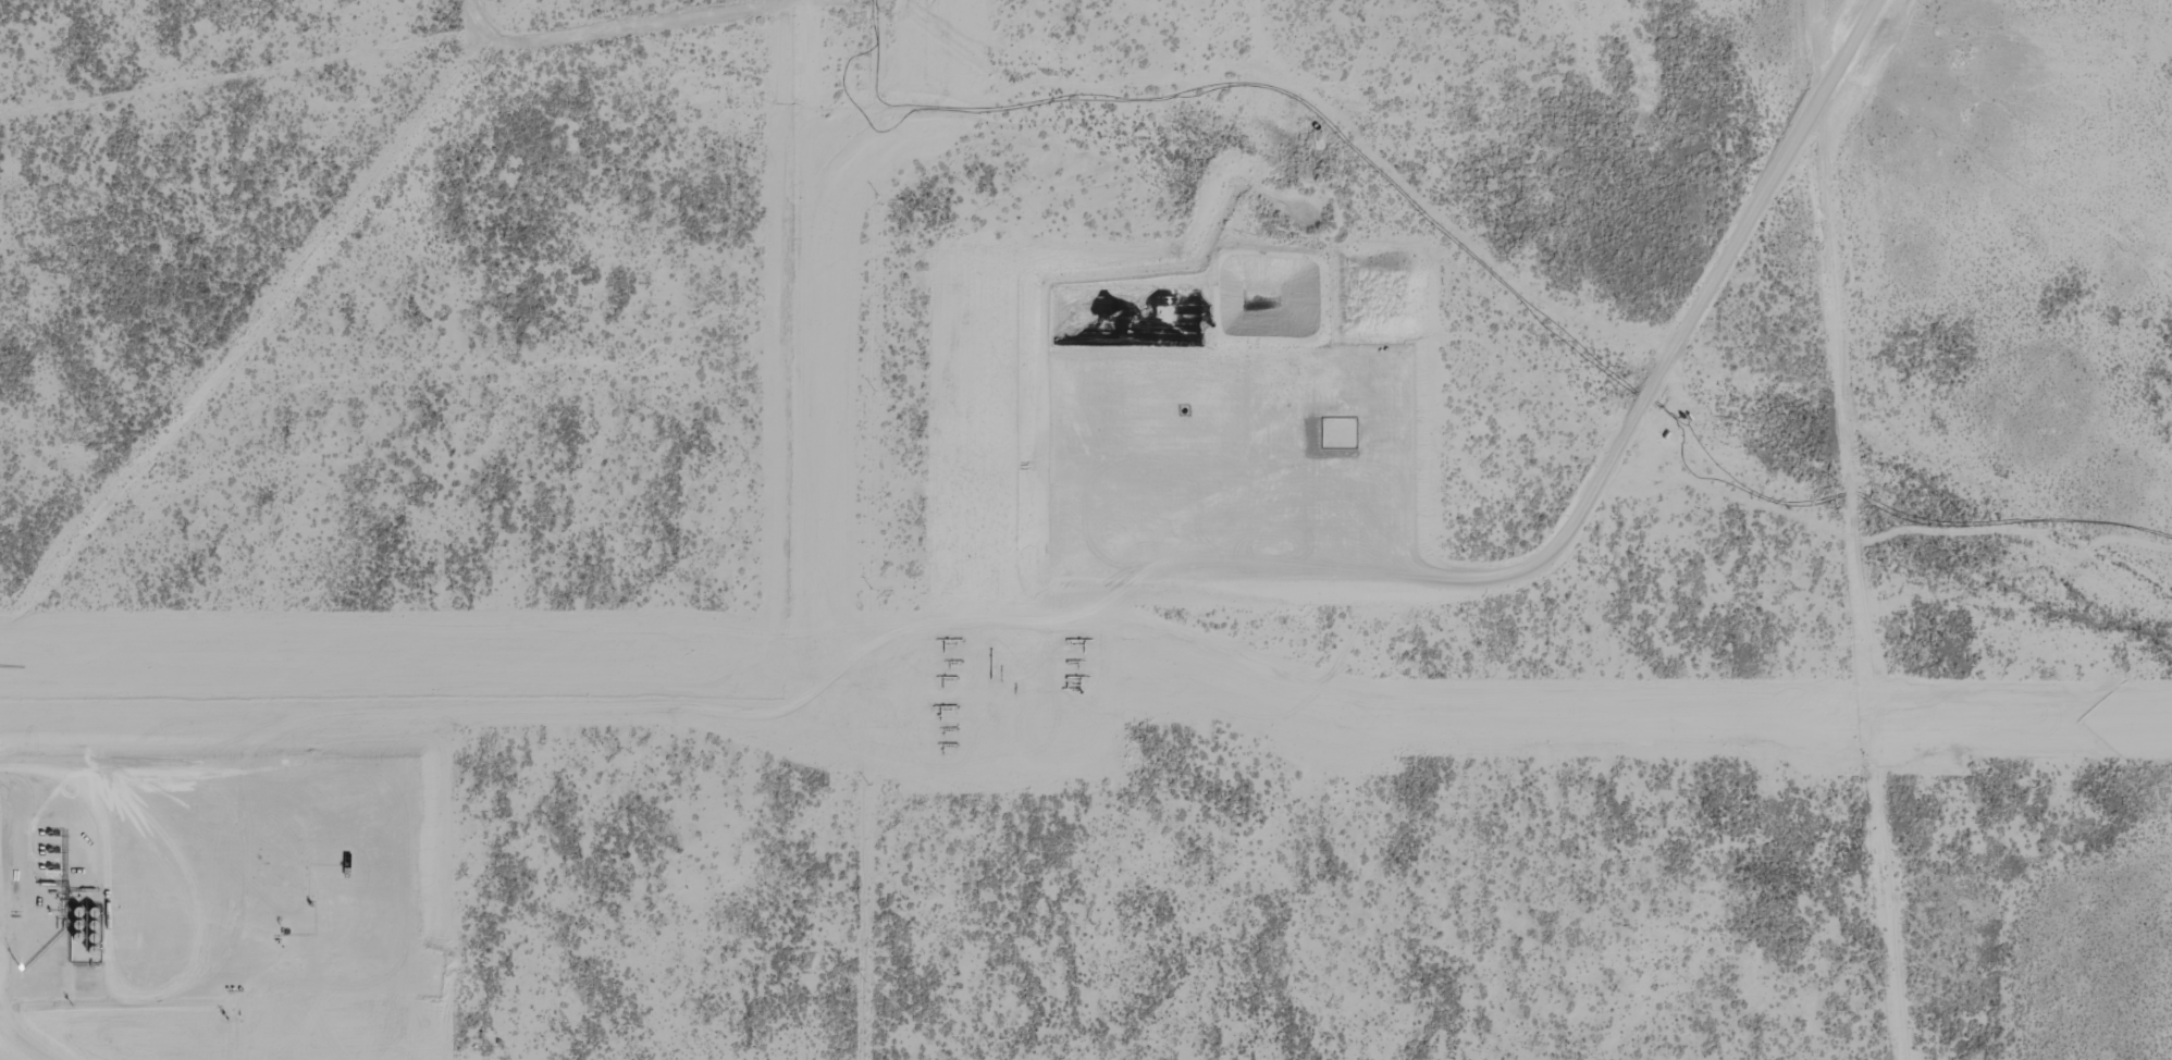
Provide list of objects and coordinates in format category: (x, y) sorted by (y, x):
road: (1835, 530)

